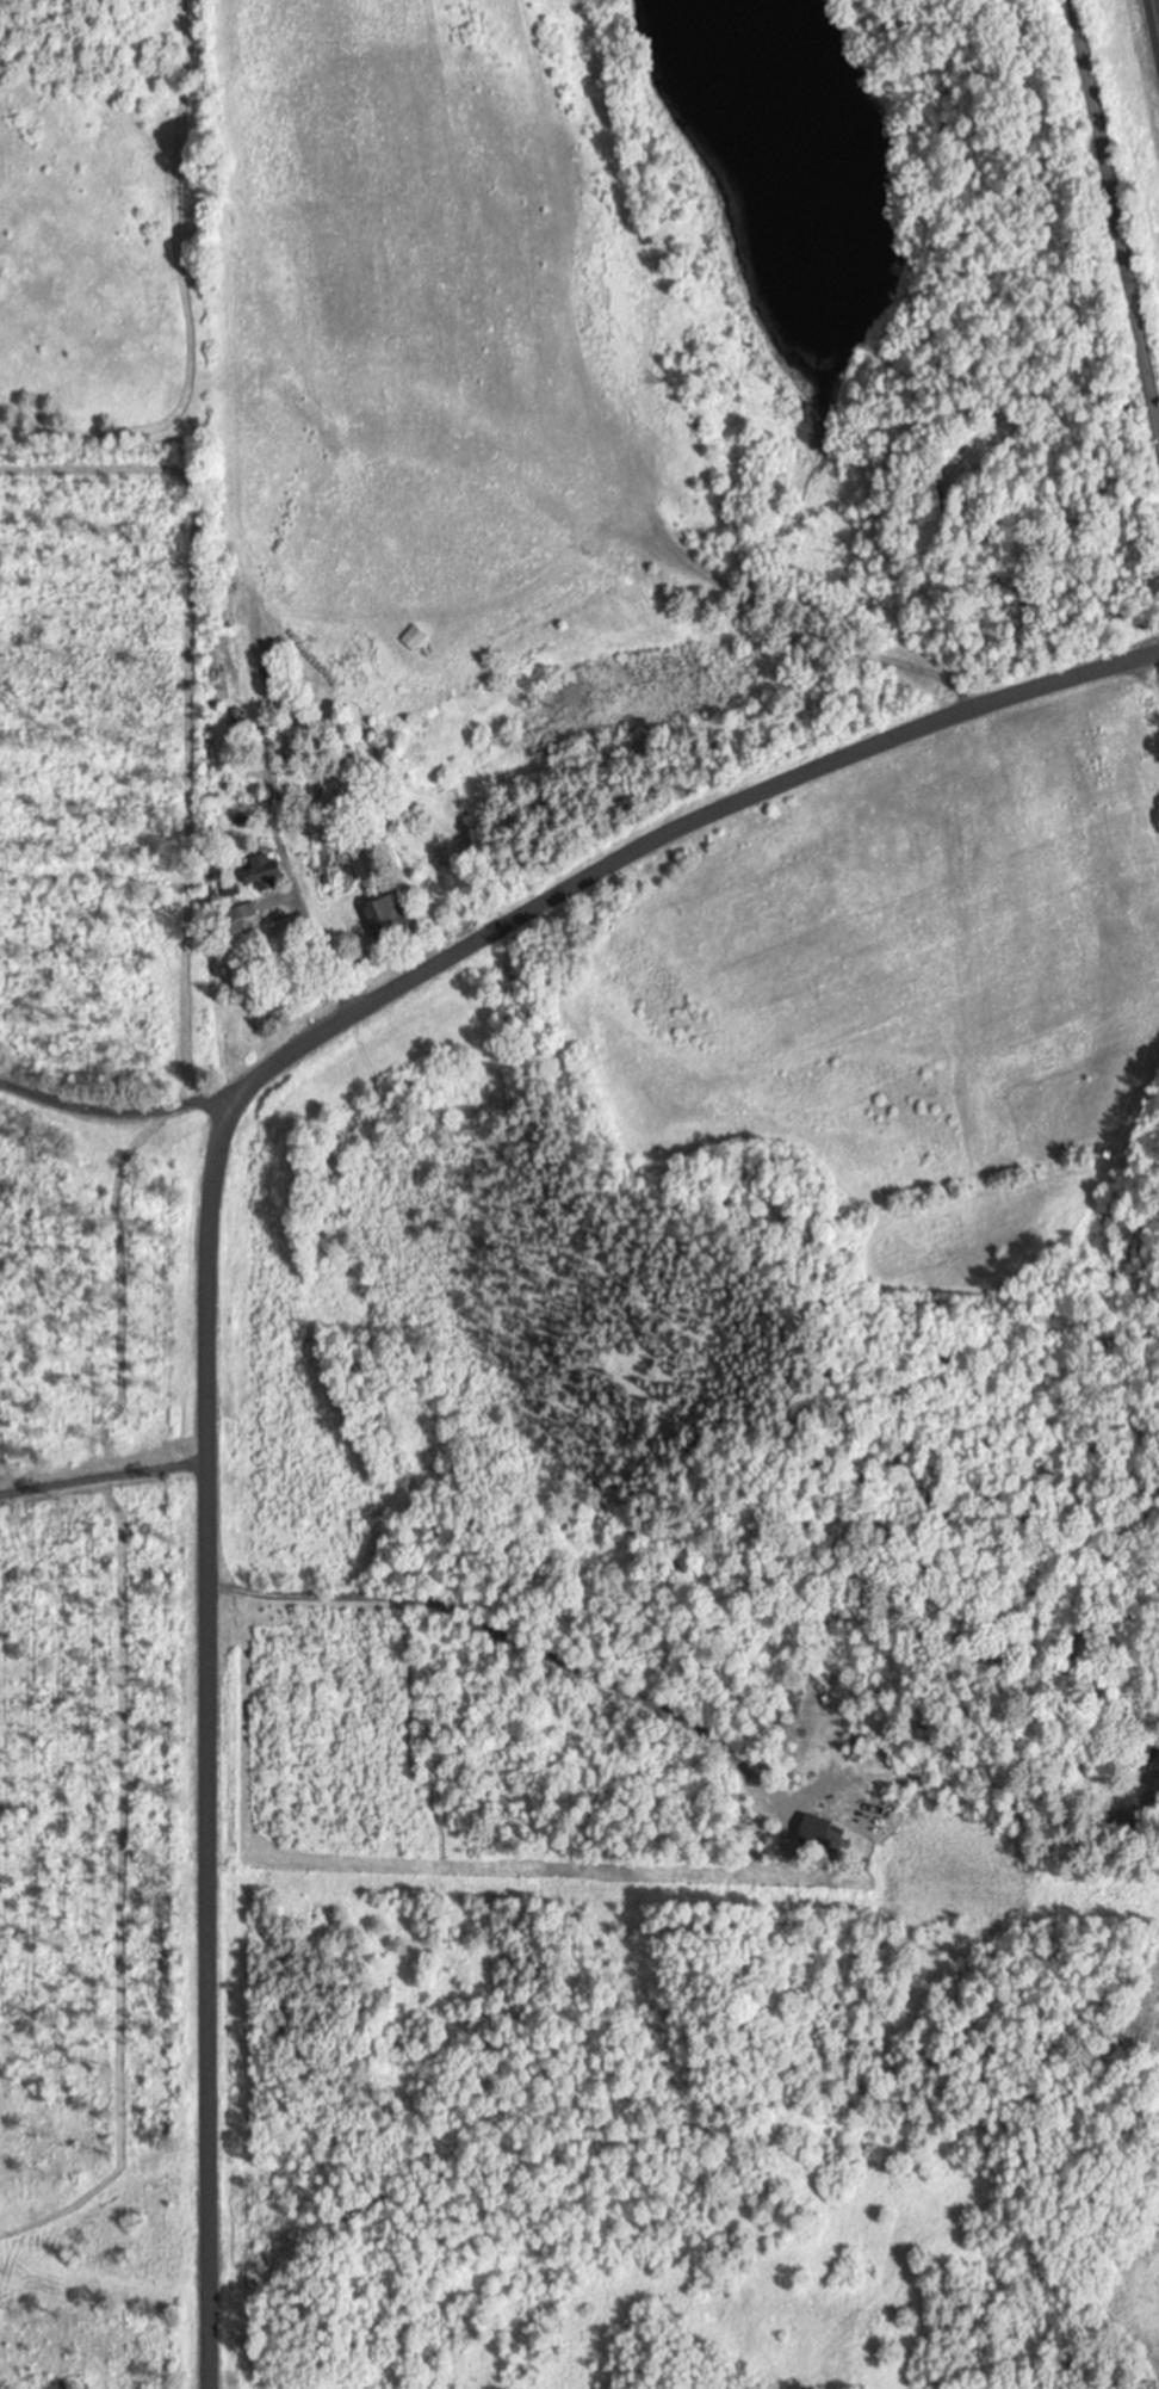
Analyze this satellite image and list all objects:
road: (1158, 5)
road: (1120, 193)
building: (267, 870)
building: (396, 912)
road: (213, 1226)

